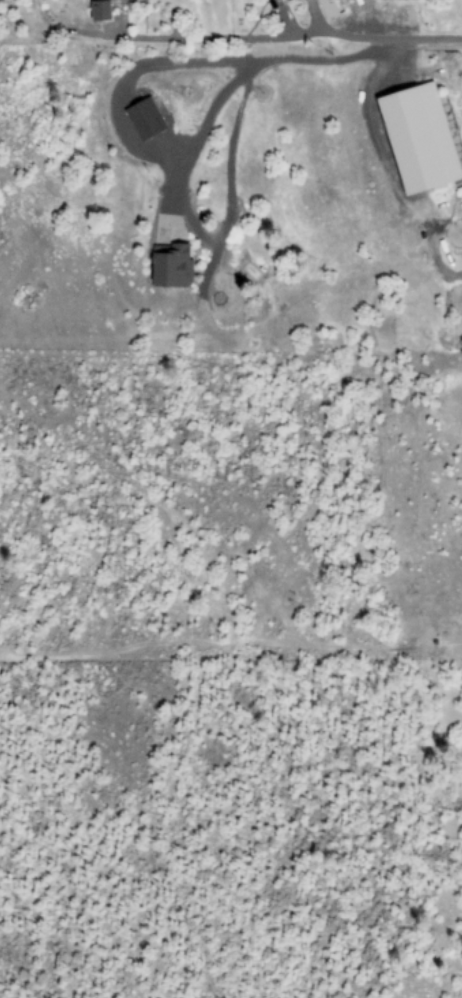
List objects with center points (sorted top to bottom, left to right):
building: (328, 8)
building: (99, 9)
road: (289, 36)
building: (144, 118)
building: (418, 137)
building: (171, 267)

